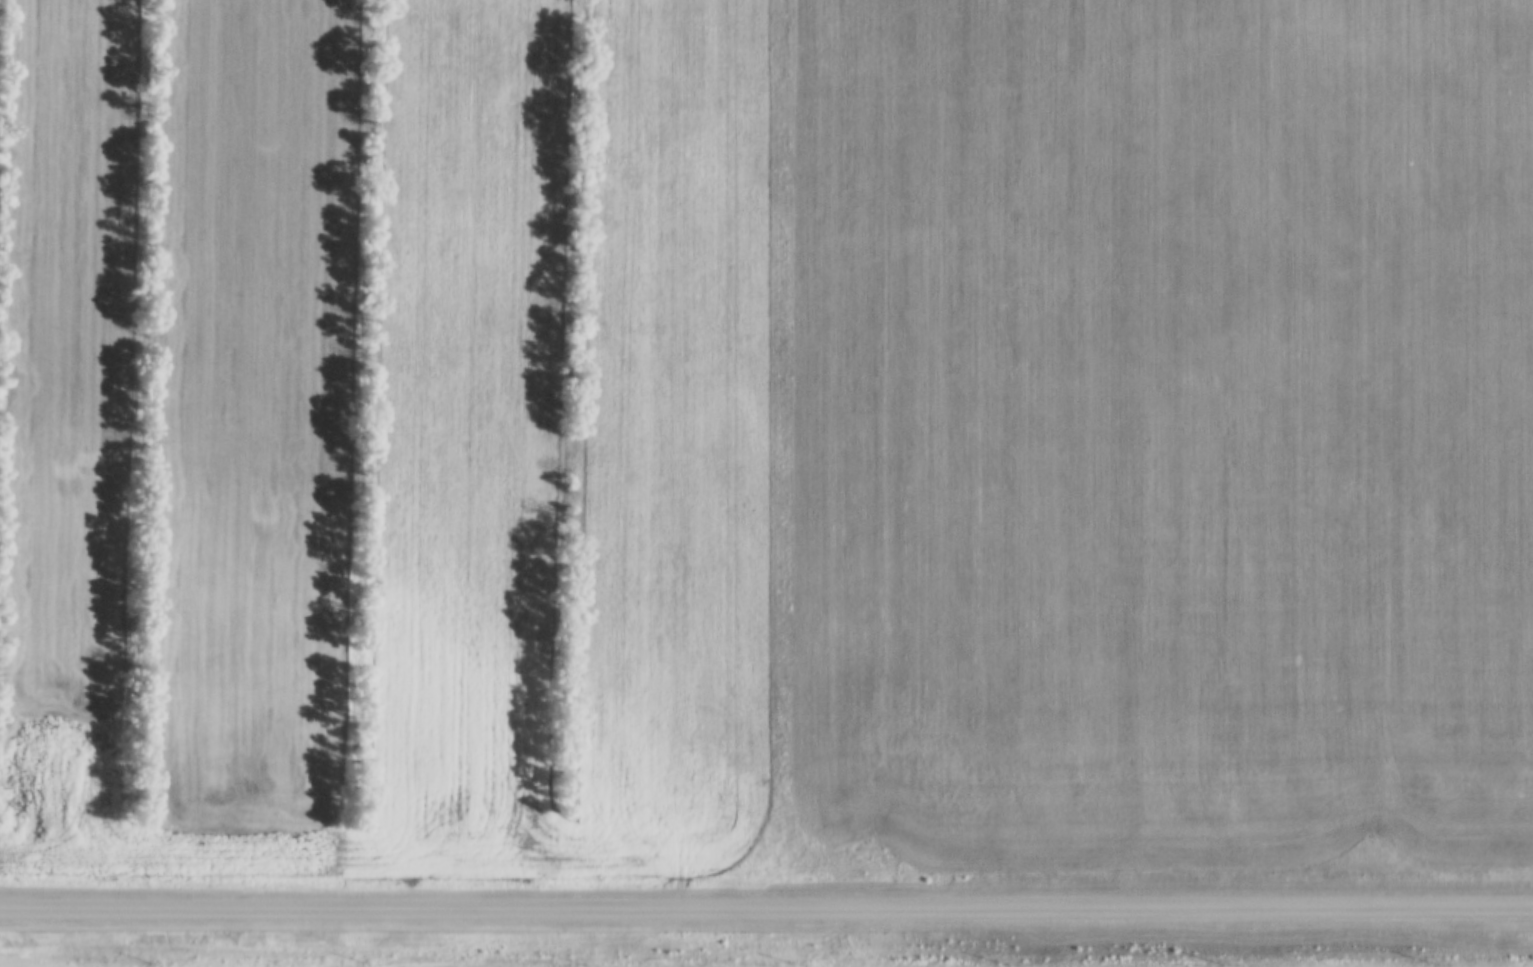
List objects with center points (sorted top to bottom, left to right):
road: (766, 906)

